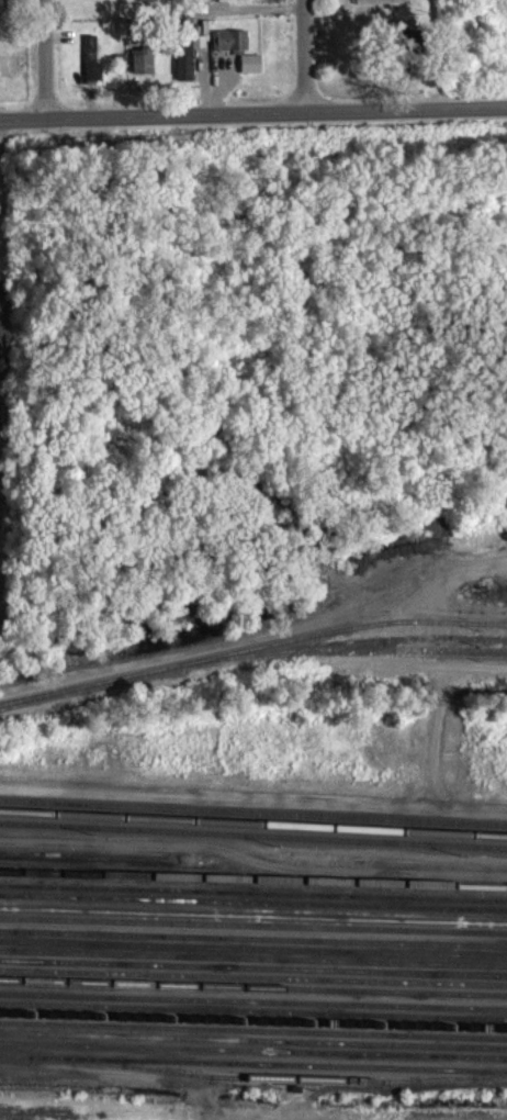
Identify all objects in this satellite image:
building: (383, 7)
building: (1, 12)
building: (233, 49)
road: (304, 56)
road: (44, 59)
building: (190, 66)
building: (94, 69)
building: (144, 70)
building: (252, 72)
road: (252, 113)
building: (5, 348)
railway: (393, 638)
railway: (251, 648)
railway: (345, 649)
railway: (253, 816)
railway: (253, 820)
railway: (253, 833)
railway: (252, 844)
railway: (105, 865)
road: (252, 870)
railway: (252, 888)
railway: (252, 901)
railway: (252, 911)
railway: (253, 925)
railway: (253, 934)
railway: (253, 947)
railway: (253, 957)
railway: (253, 967)
railway: (253, 977)
railway: (252, 987)
railway: (252, 998)
railway: (253, 1010)
railway: (253, 1020)
railway: (253, 1030)
railway: (252, 1040)
railway: (252, 1051)
railway: (253, 1060)
railway: (13, 1064)
railway: (253, 1072)
railway: (281, 1087)
road: (112, 1089)

